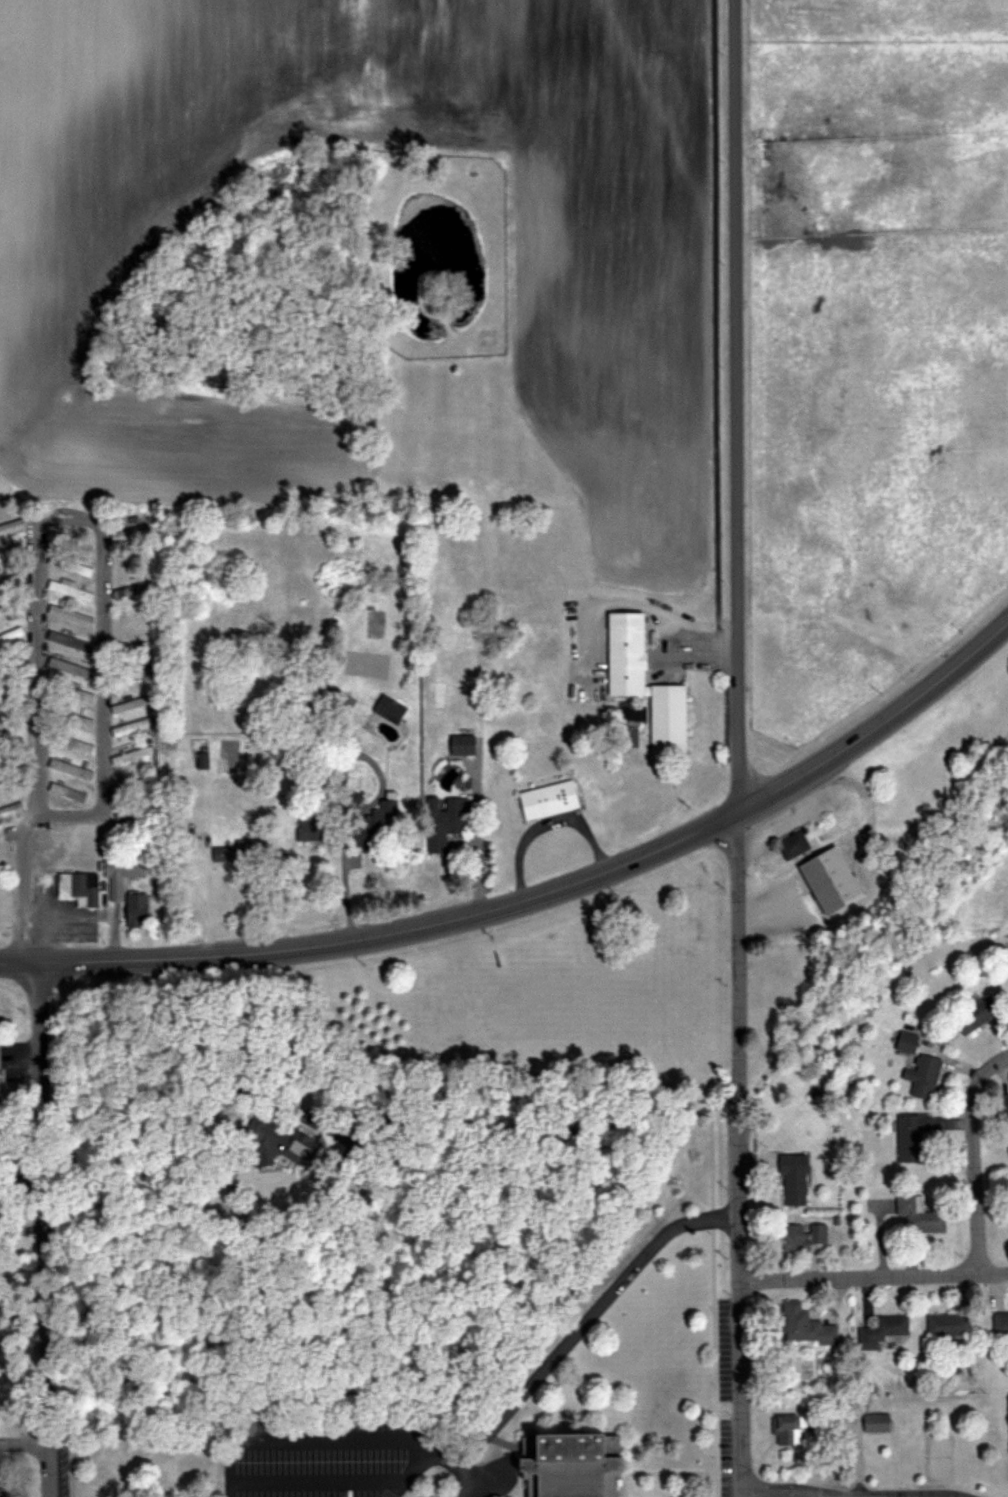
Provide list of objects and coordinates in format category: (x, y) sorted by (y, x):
road: (735, 407)
building: (12, 526)
road: (53, 526)
building: (132, 533)
building: (10, 553)
building: (12, 580)
building: (72, 590)
building: (132, 590)
building: (7, 608)
building: (72, 614)
building: (11, 635)
road: (703, 641)
building: (628, 652)
building: (82, 694)
building: (391, 708)
building: (633, 715)
building: (670, 717)
building: (79, 719)
road: (877, 724)
building: (74, 742)
building: (464, 743)
building: (134, 754)
building: (72, 768)
building: (2, 779)
building: (133, 785)
building: (69, 791)
building: (552, 798)
building: (12, 809)
building: (443, 821)
building: (113, 825)
building: (377, 826)
road: (546, 829)
road: (473, 844)
building: (795, 844)
building: (241, 851)
building: (123, 872)
building: (833, 879)
building: (81, 886)
road: (22, 889)
road: (347, 890)
road: (289, 897)
road: (379, 942)
building: (980, 1011)
building: (908, 1041)
building: (925, 1075)
building: (1005, 1105)
road: (405, 1131)
building: (914, 1137)
building: (266, 1149)
road: (738, 1155)
road: (972, 1160)
building: (796, 1179)
building: (921, 1214)
road: (43, 1231)
building: (805, 1236)
road: (873, 1278)
road: (712, 1303)
building: (1001, 1323)
building: (951, 1324)
building: (807, 1325)
building: (884, 1330)
road: (583, 1332)
building: (878, 1422)
building: (789, 1429)
road: (24, 1447)
parking lot: (333, 1456)
building: (575, 1465)
road: (658, 1476)
building: (1, 1492)
road: (519, 1493)
road: (765, 1495)
road: (820, 1495)
road: (832, 1496)

